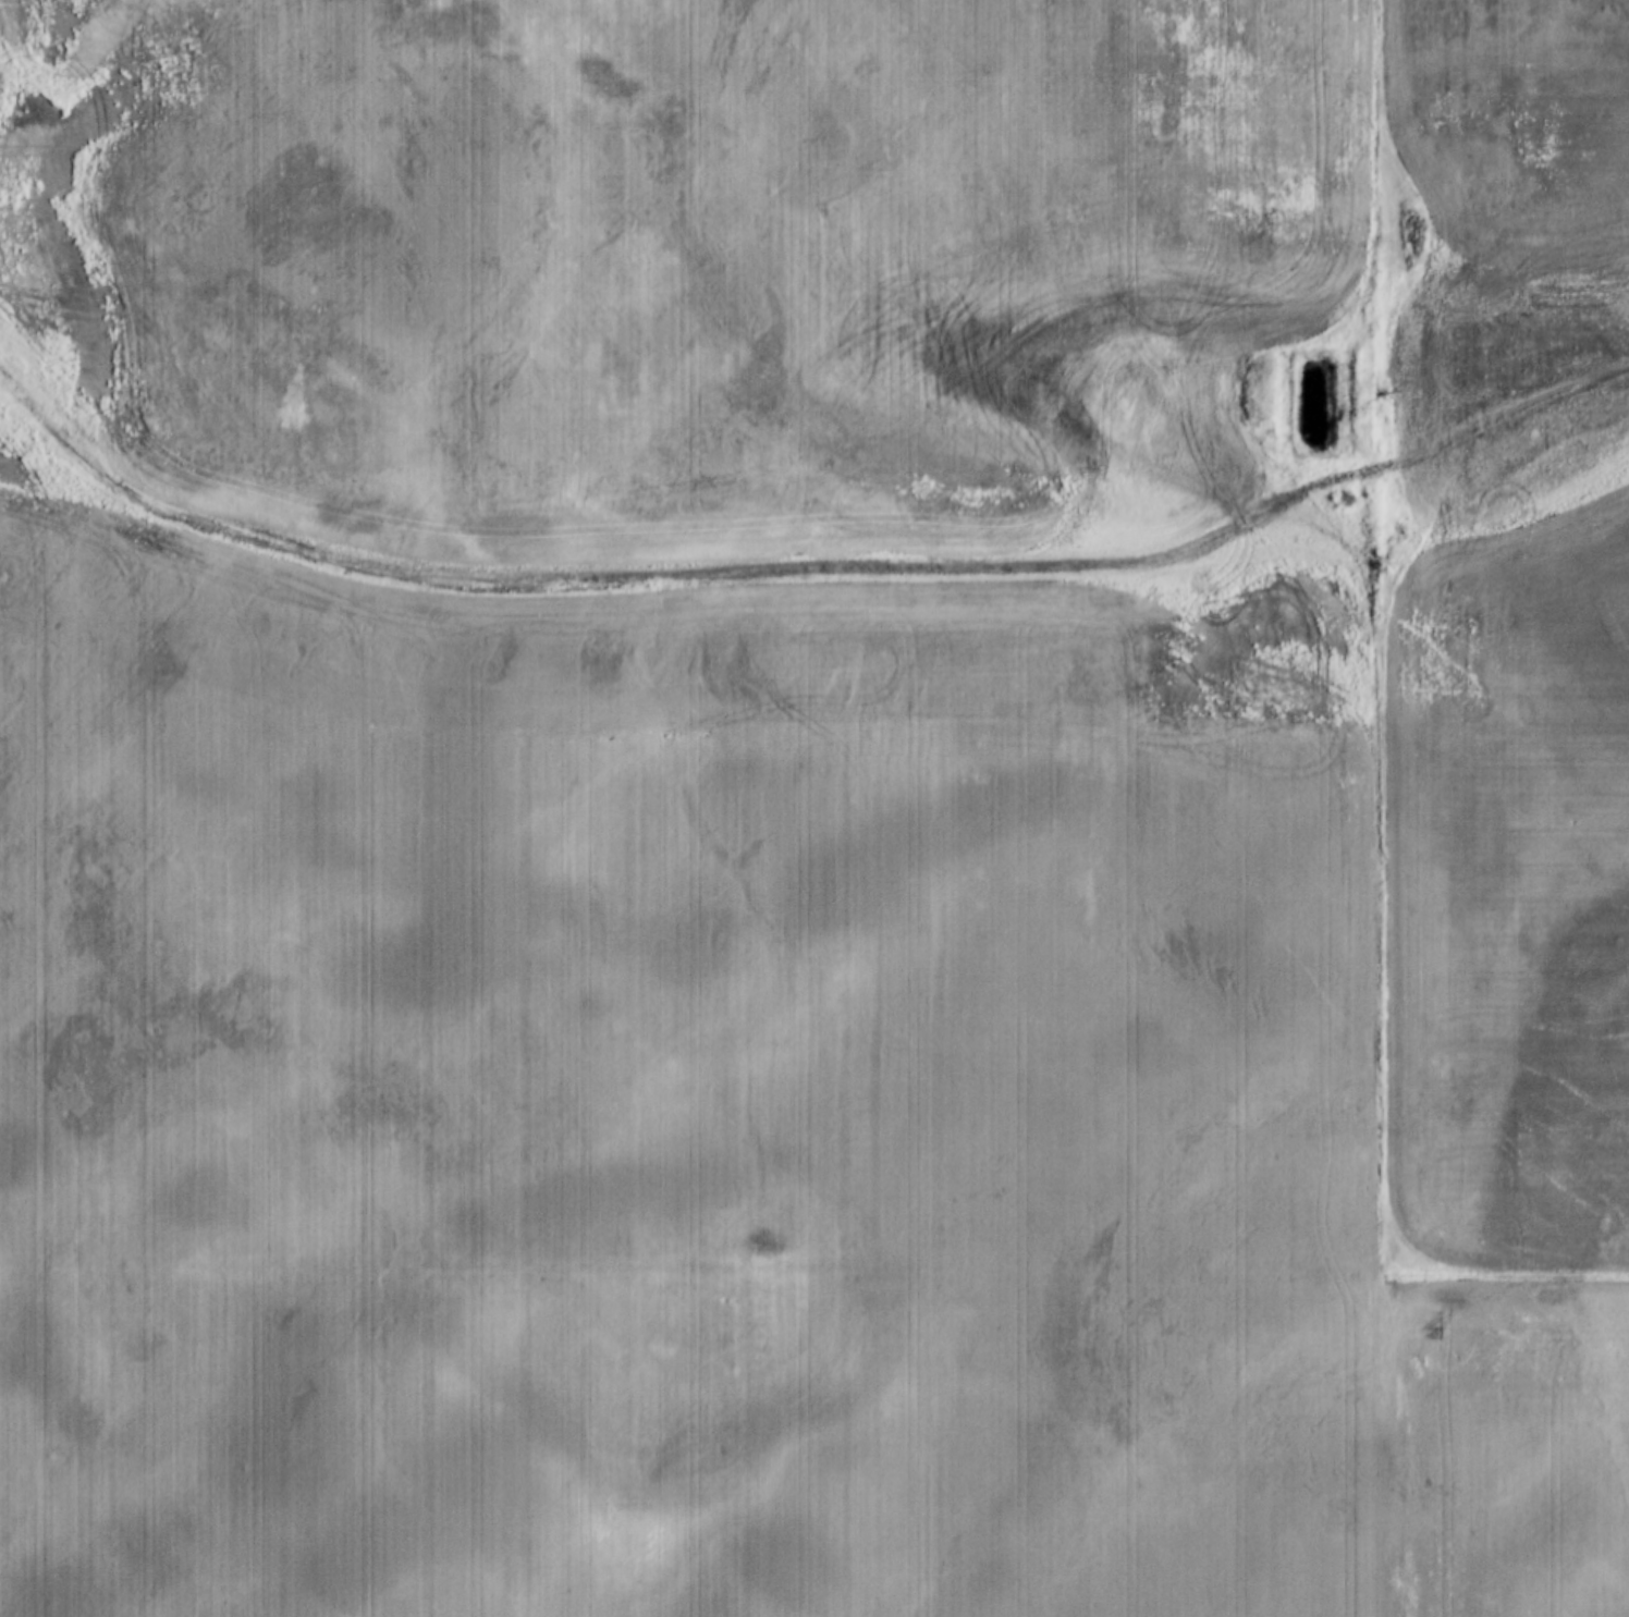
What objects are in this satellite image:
road: (932, 578)
road: (1384, 1016)

